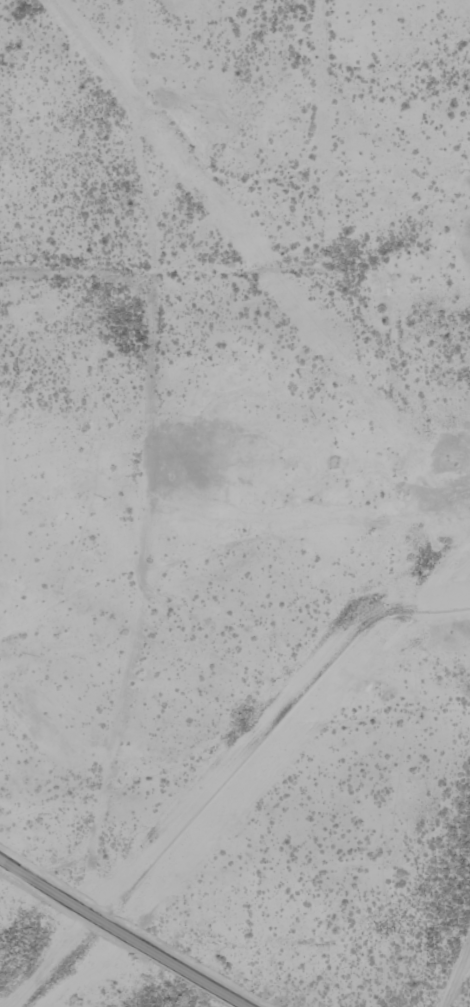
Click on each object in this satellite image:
road: (90, 953)

